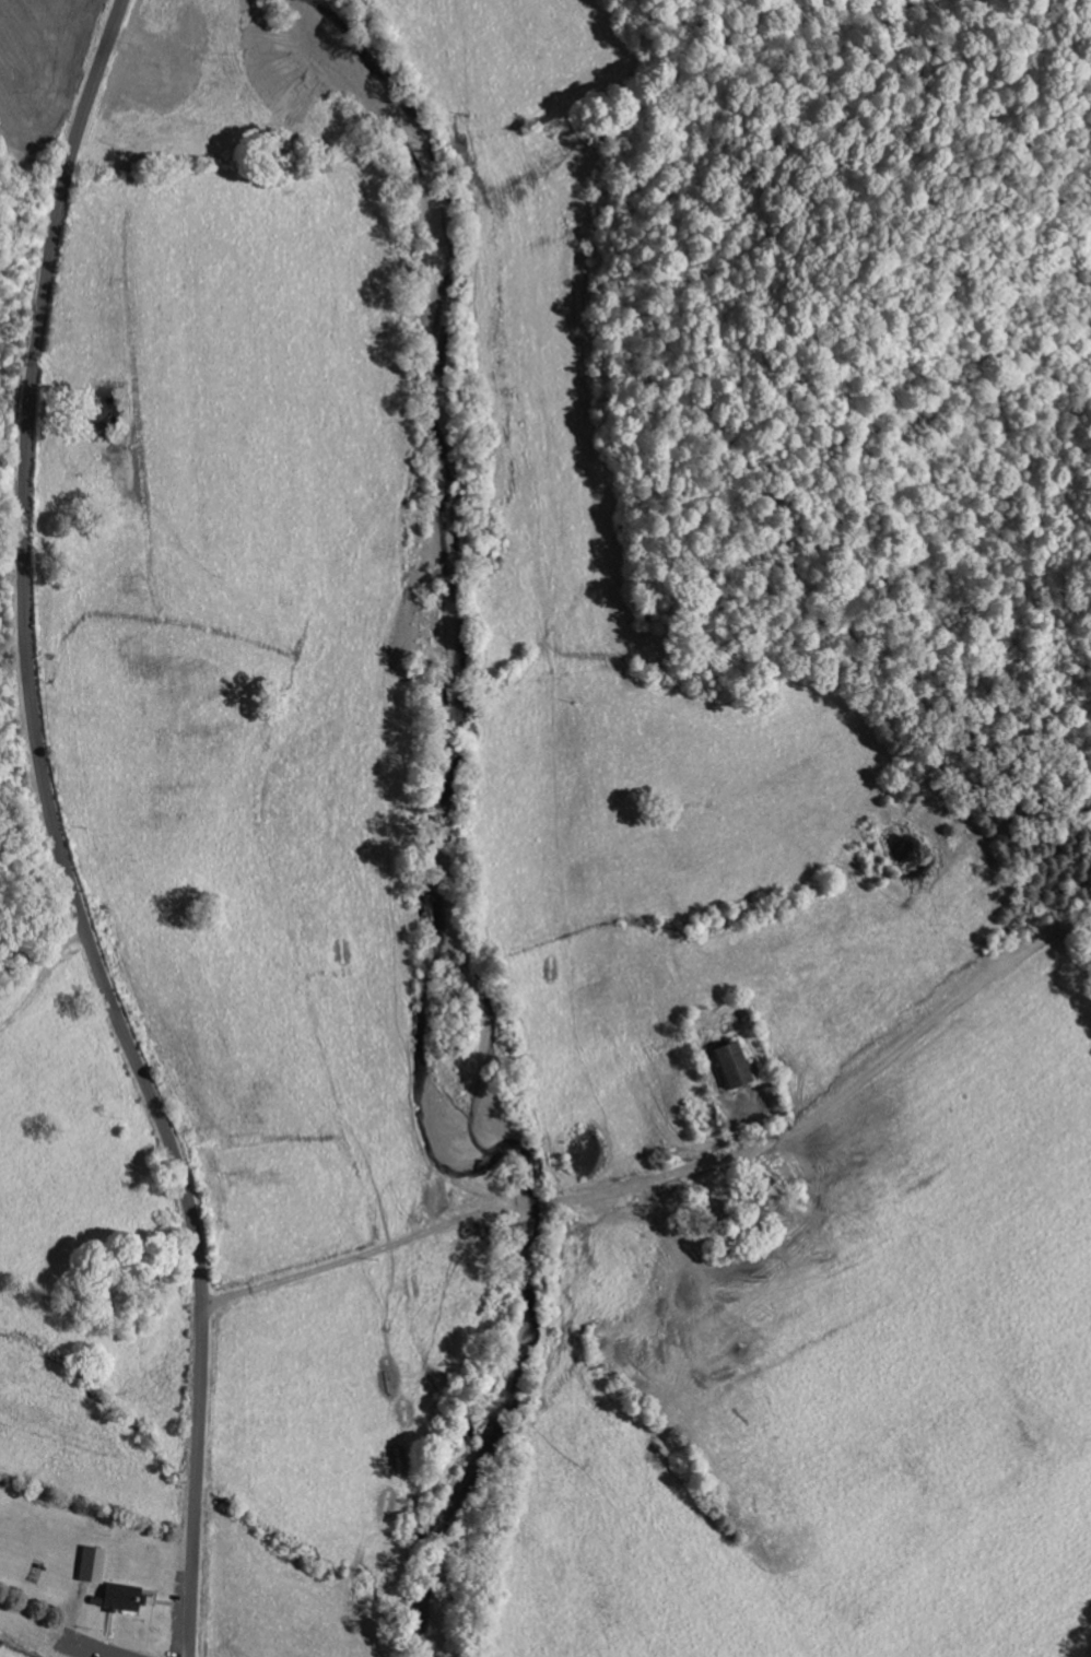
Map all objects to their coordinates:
road: (54, 833)
building: (734, 1065)
road: (412, 1230)
building: (92, 1564)
building: (121, 1597)
road: (94, 1608)

